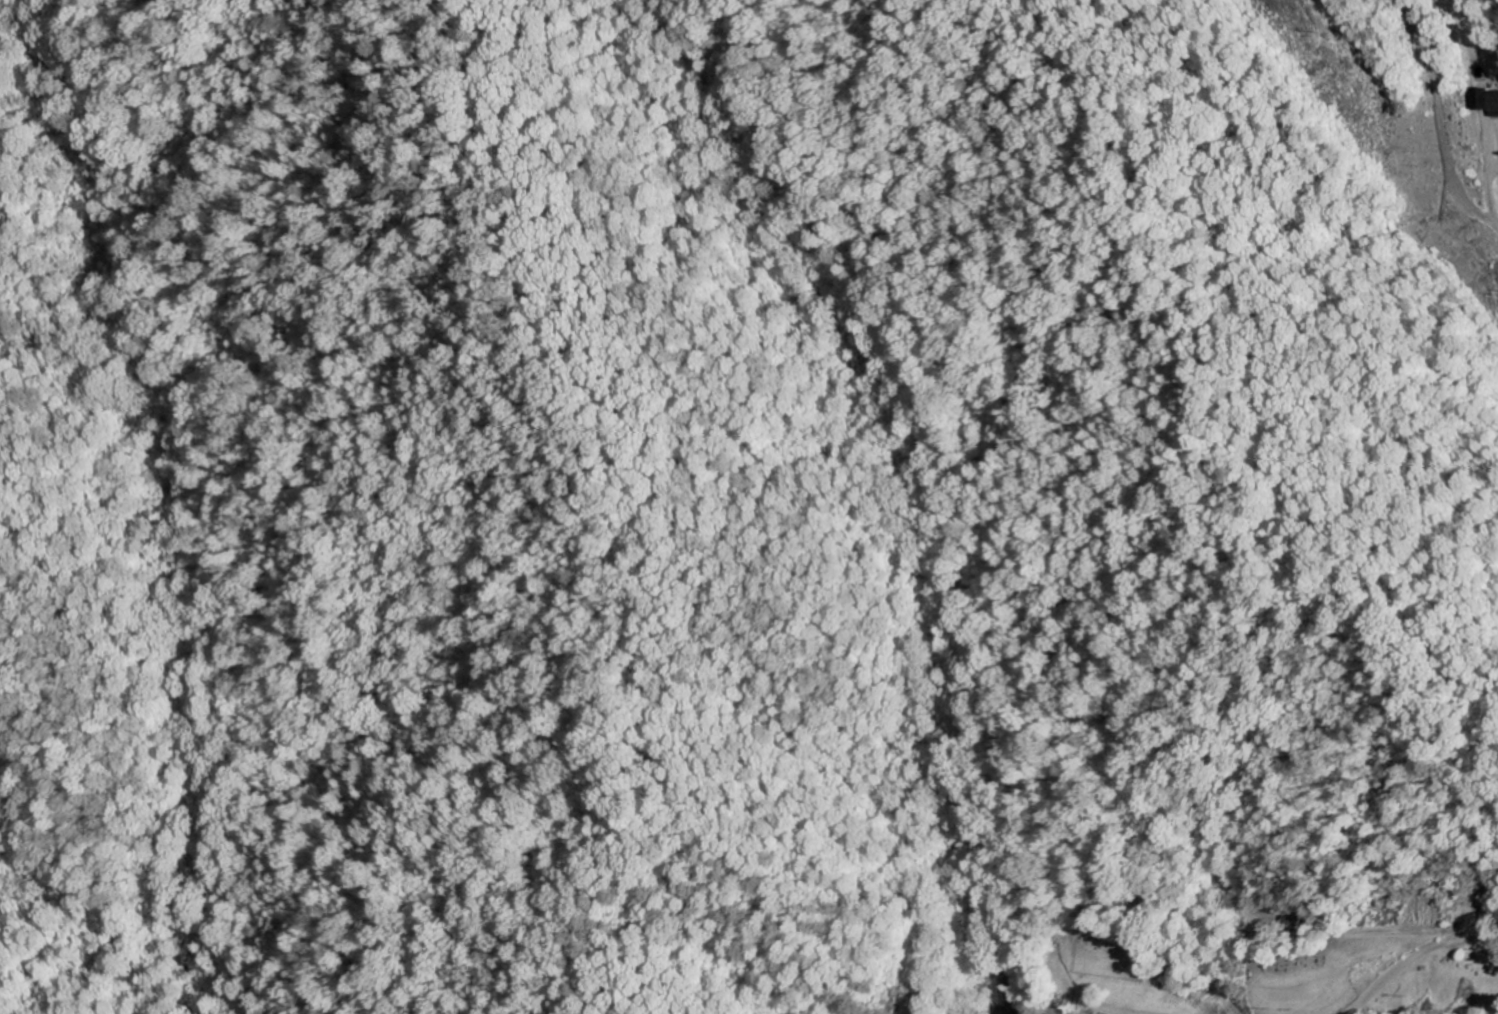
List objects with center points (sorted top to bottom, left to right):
road: (1476, 47)
building: (1486, 100)
park: (1117, 943)
road: (1402, 964)
road: (1090, 996)

